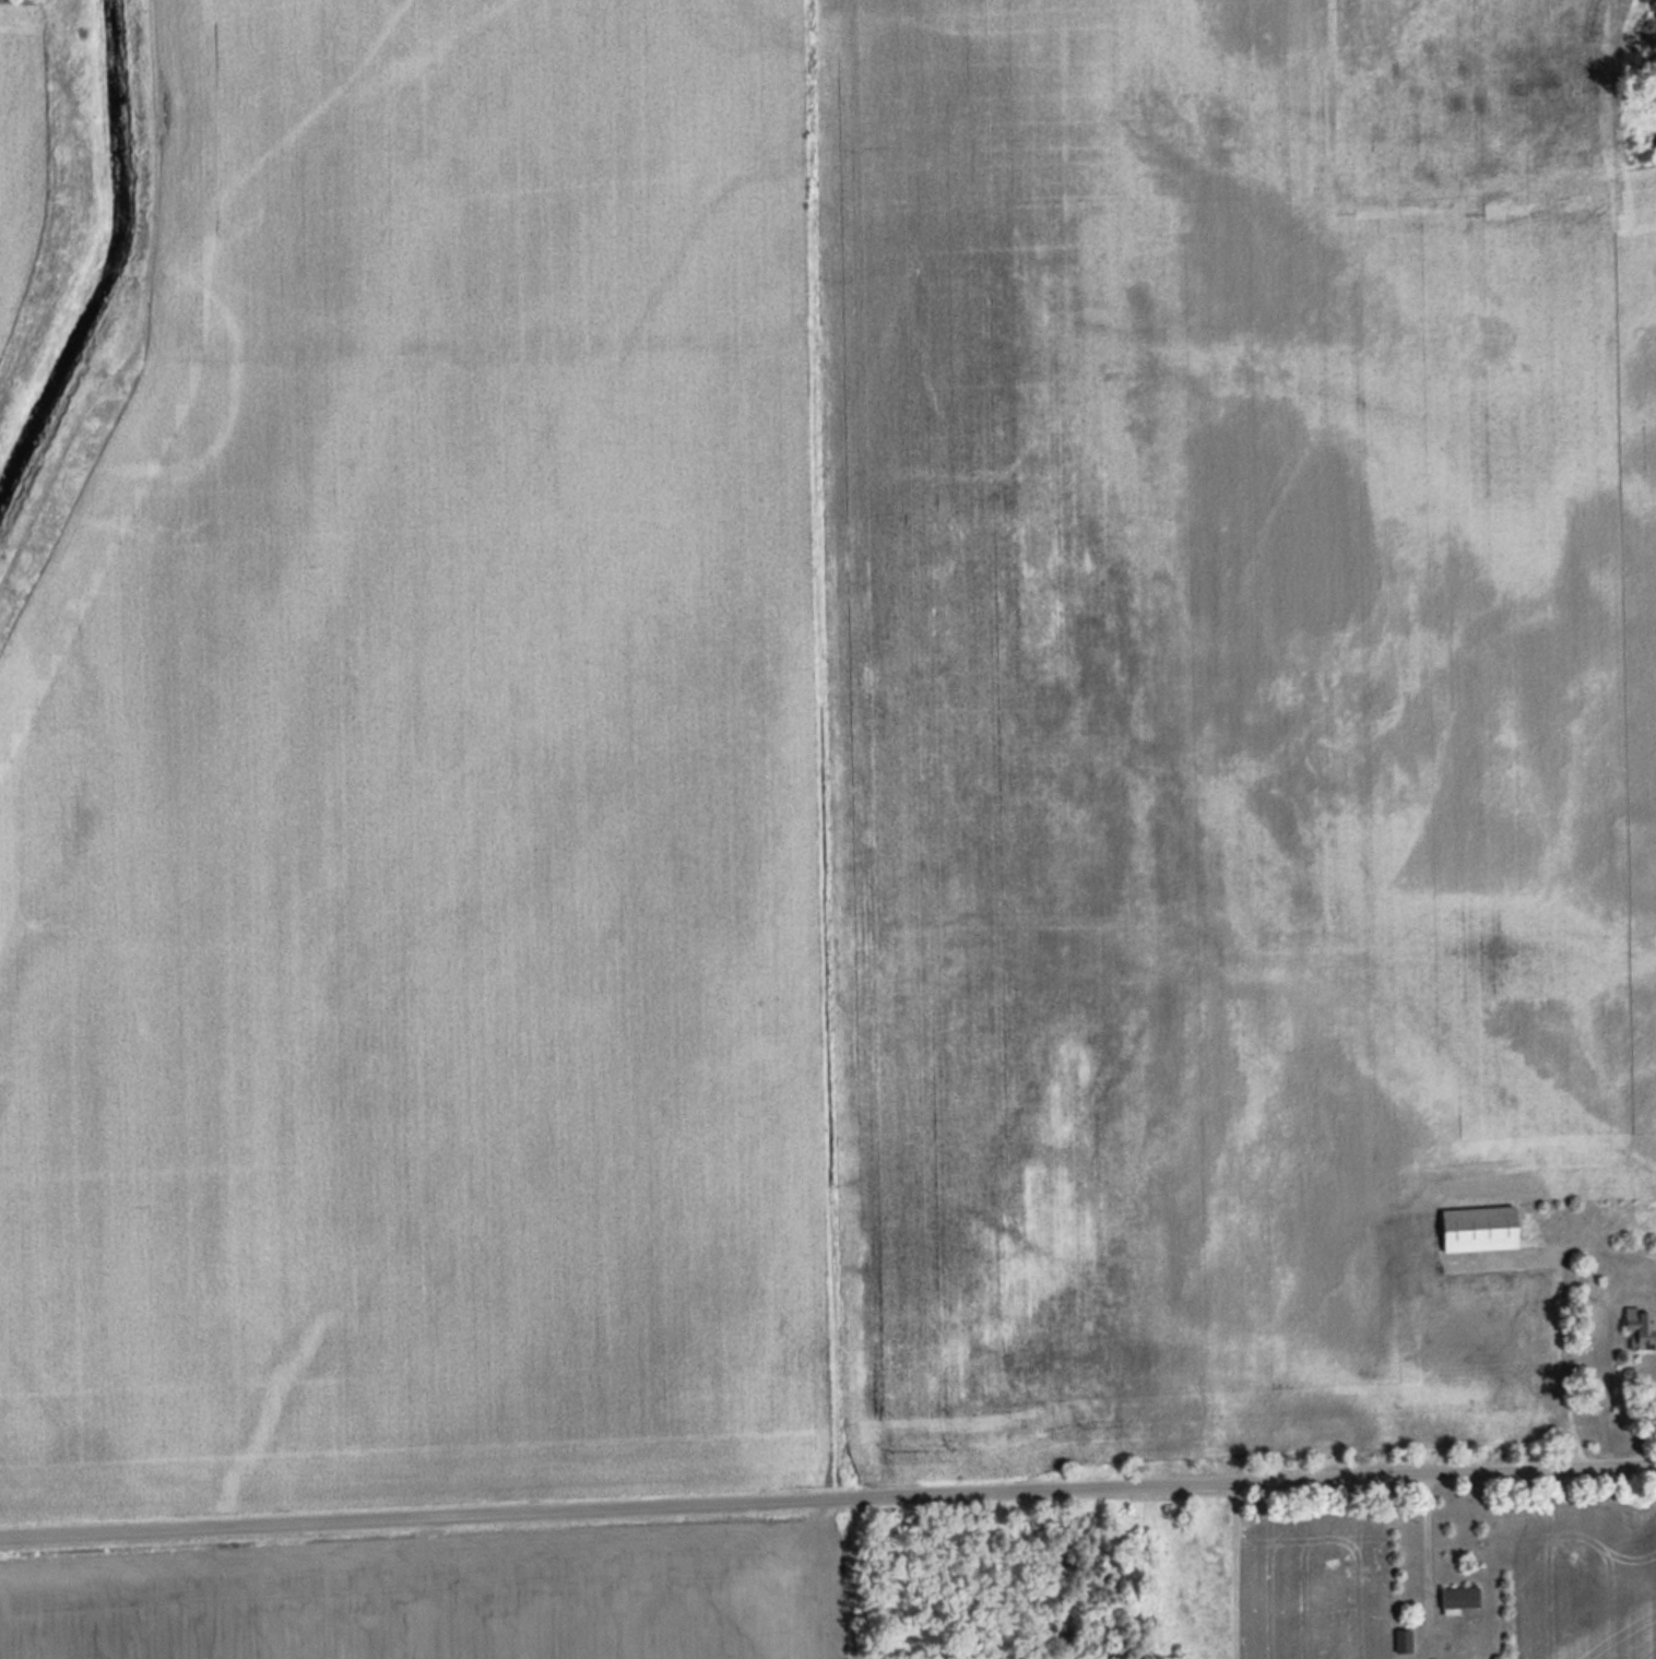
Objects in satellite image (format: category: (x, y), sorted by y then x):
building: (1478, 1228)
building: (1640, 1328)
road: (828, 1500)
road: (1613, 1561)
building: (1459, 1597)
building: (1403, 1639)

